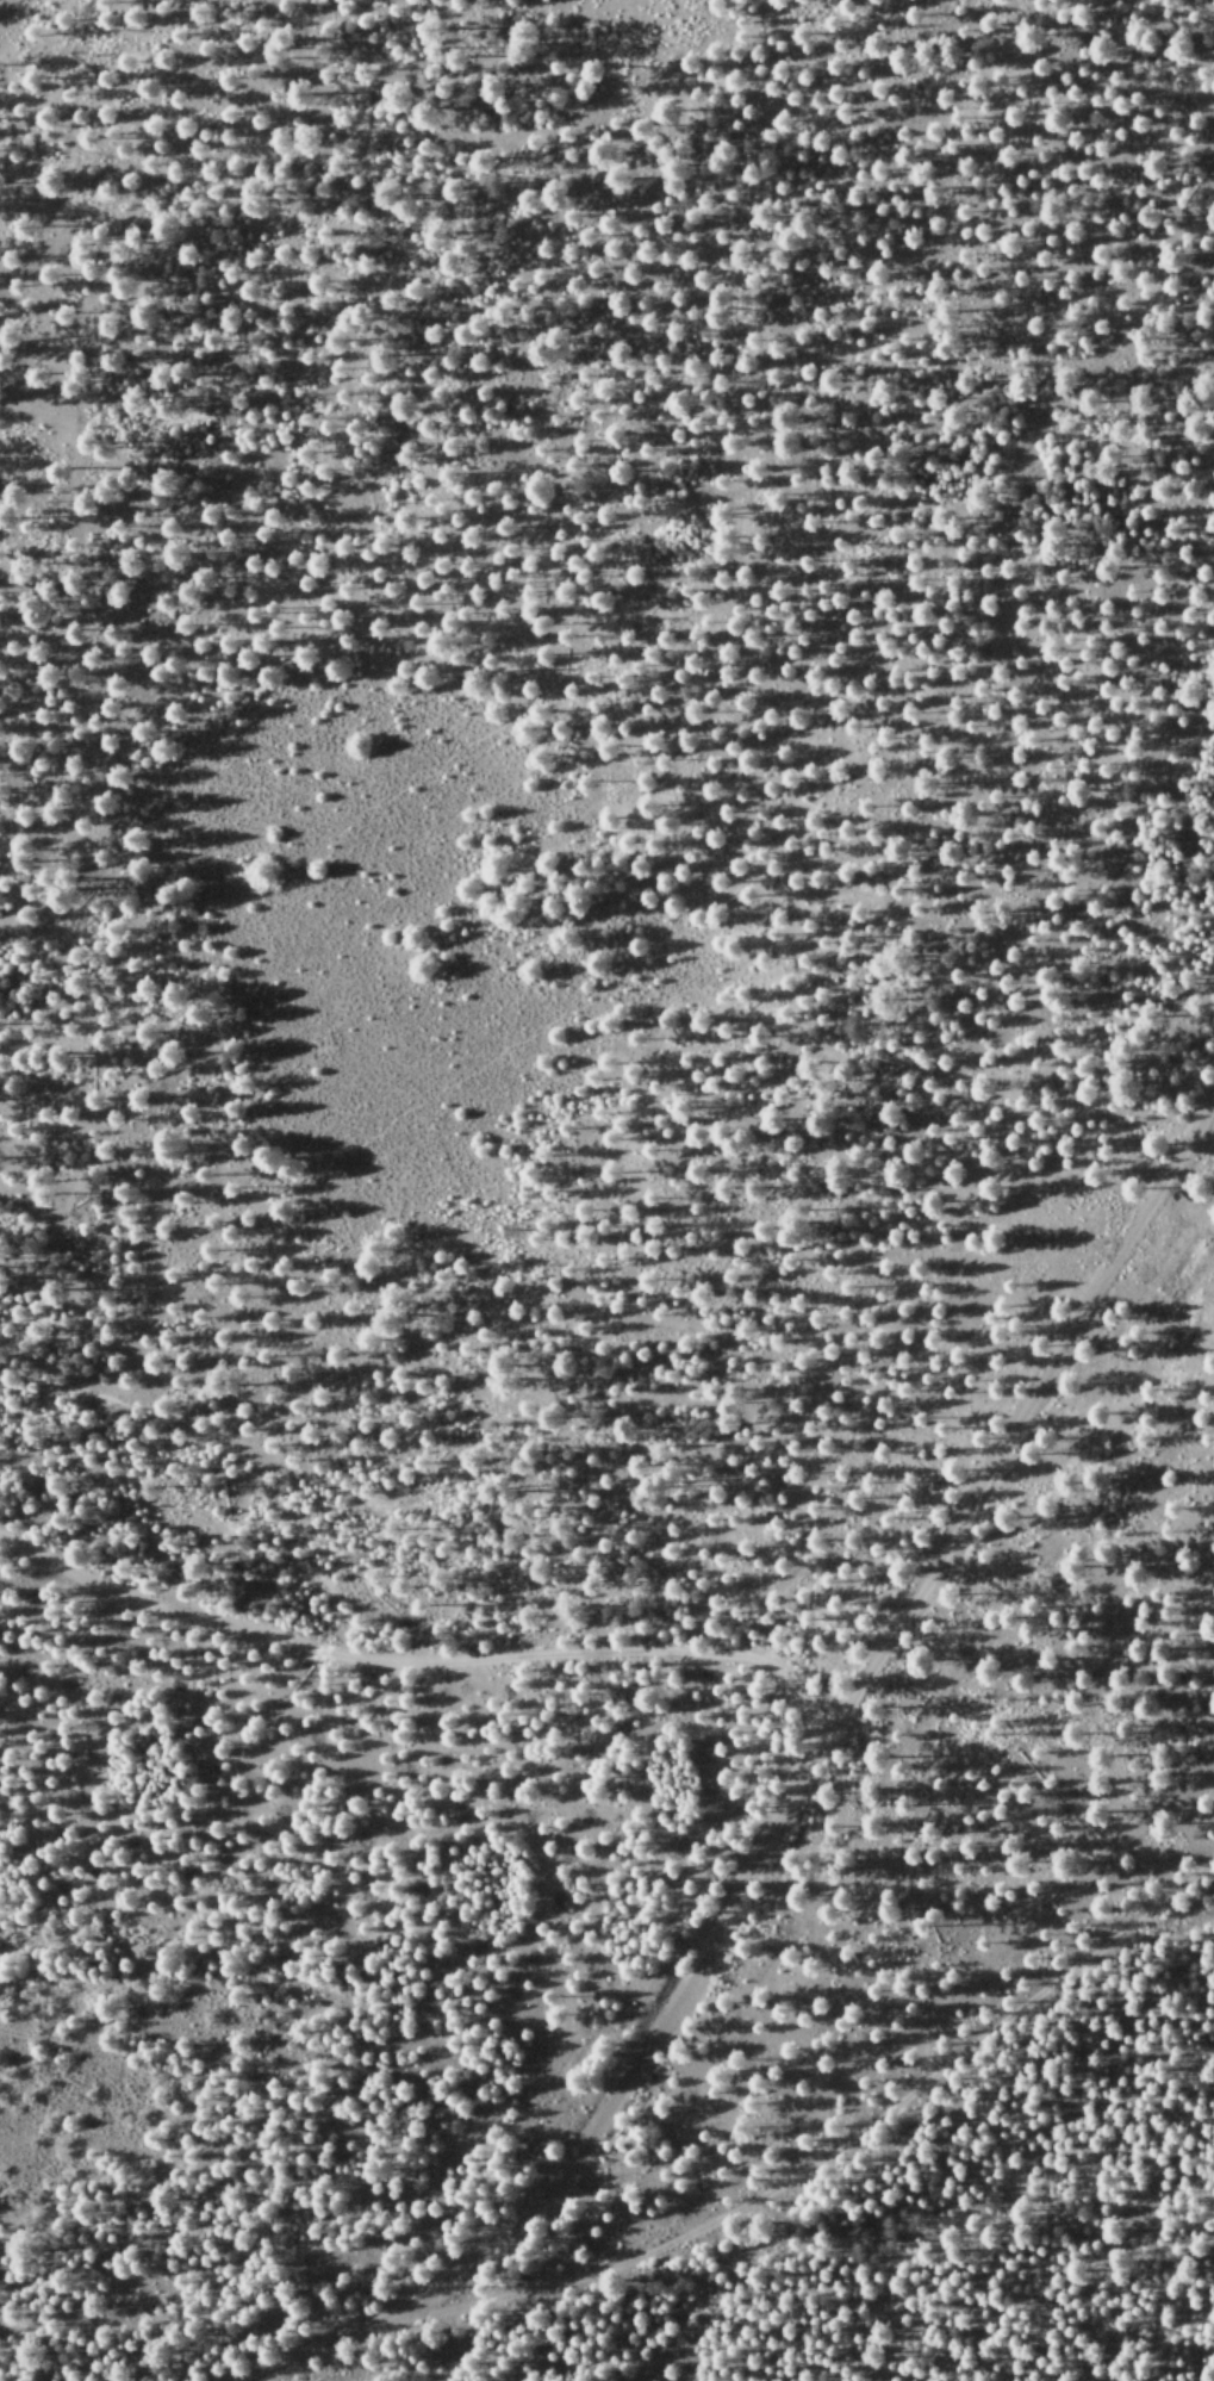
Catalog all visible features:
road: (404, 1505)
road: (1033, 1820)
road: (586, 2087)

